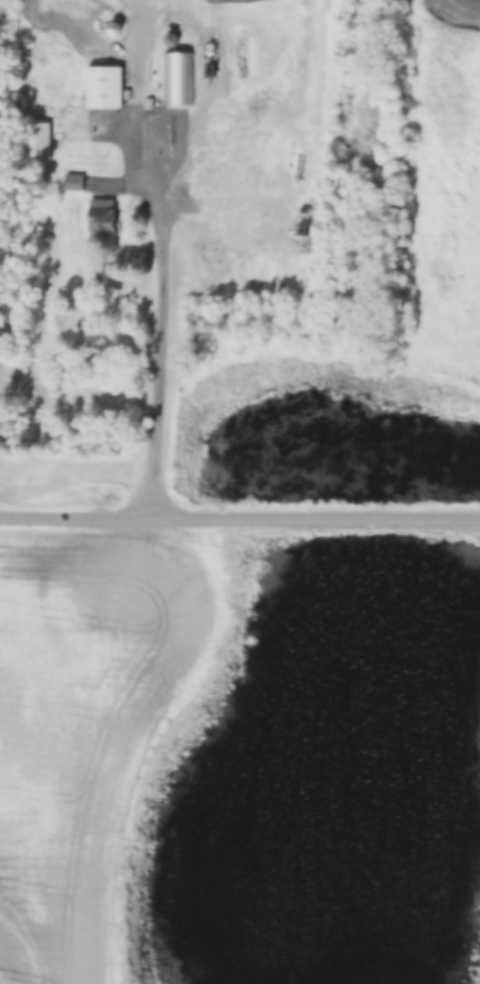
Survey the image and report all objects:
building: (177, 80)
building: (102, 89)
building: (33, 142)
building: (71, 183)
building: (98, 216)
road: (161, 339)
road: (239, 516)

